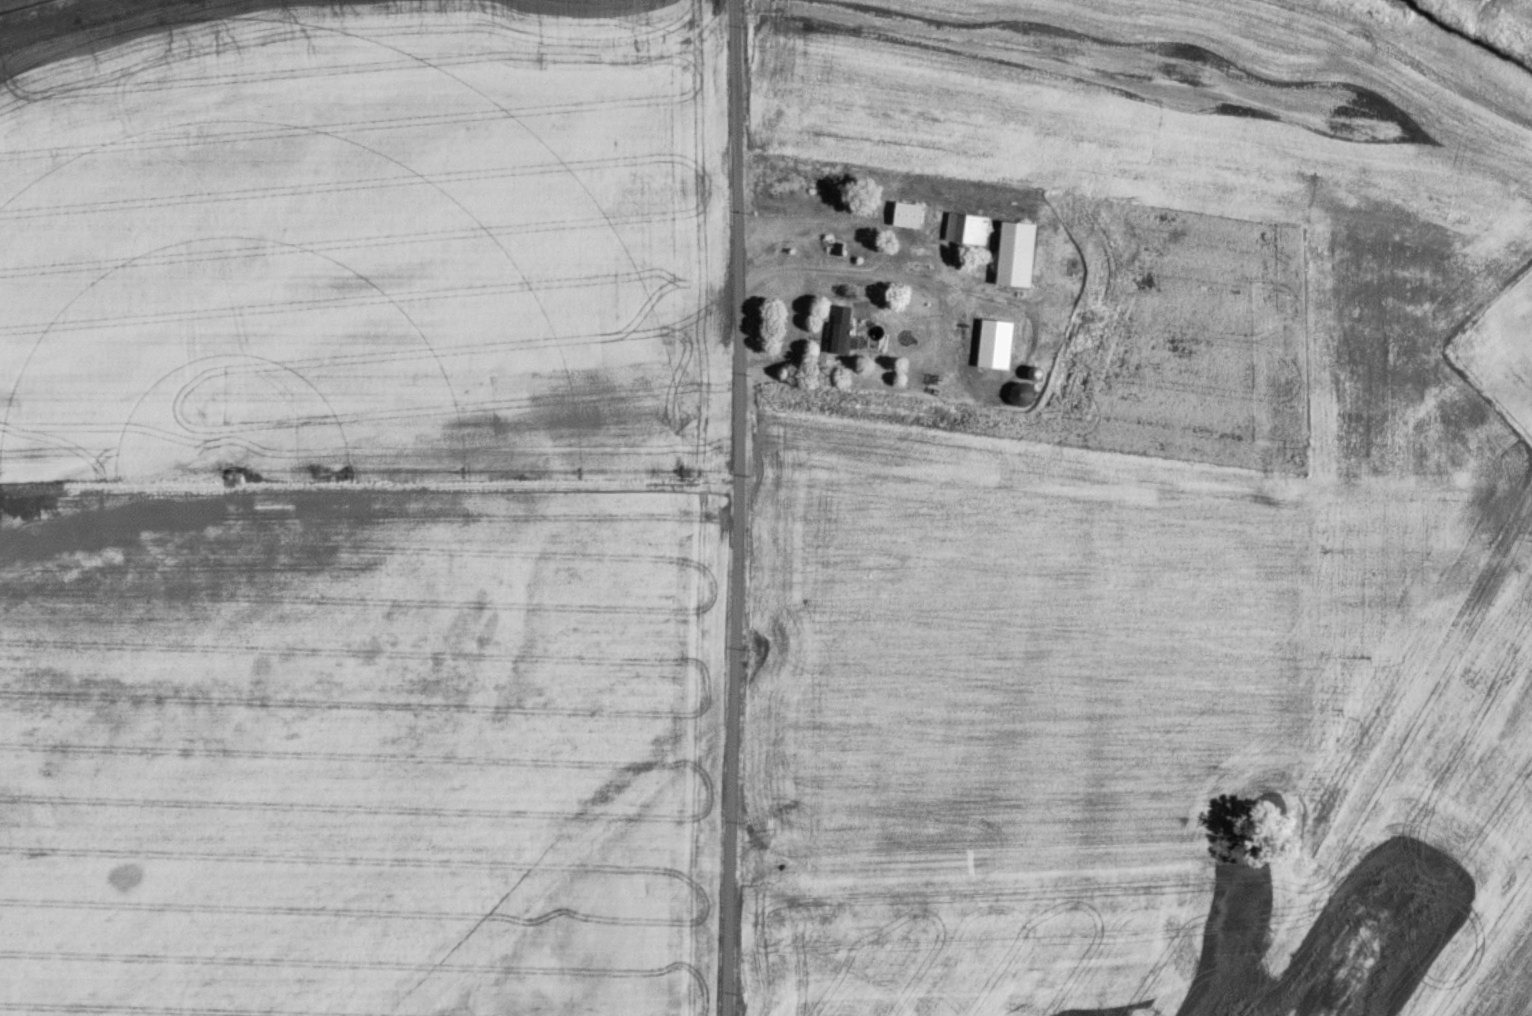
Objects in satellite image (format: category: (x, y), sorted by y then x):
building: (906, 213)
building: (965, 227)
building: (1014, 252)
road: (750, 260)
road: (893, 273)
road: (750, 278)
building: (839, 336)
road: (800, 339)
building: (993, 343)
road: (736, 508)

